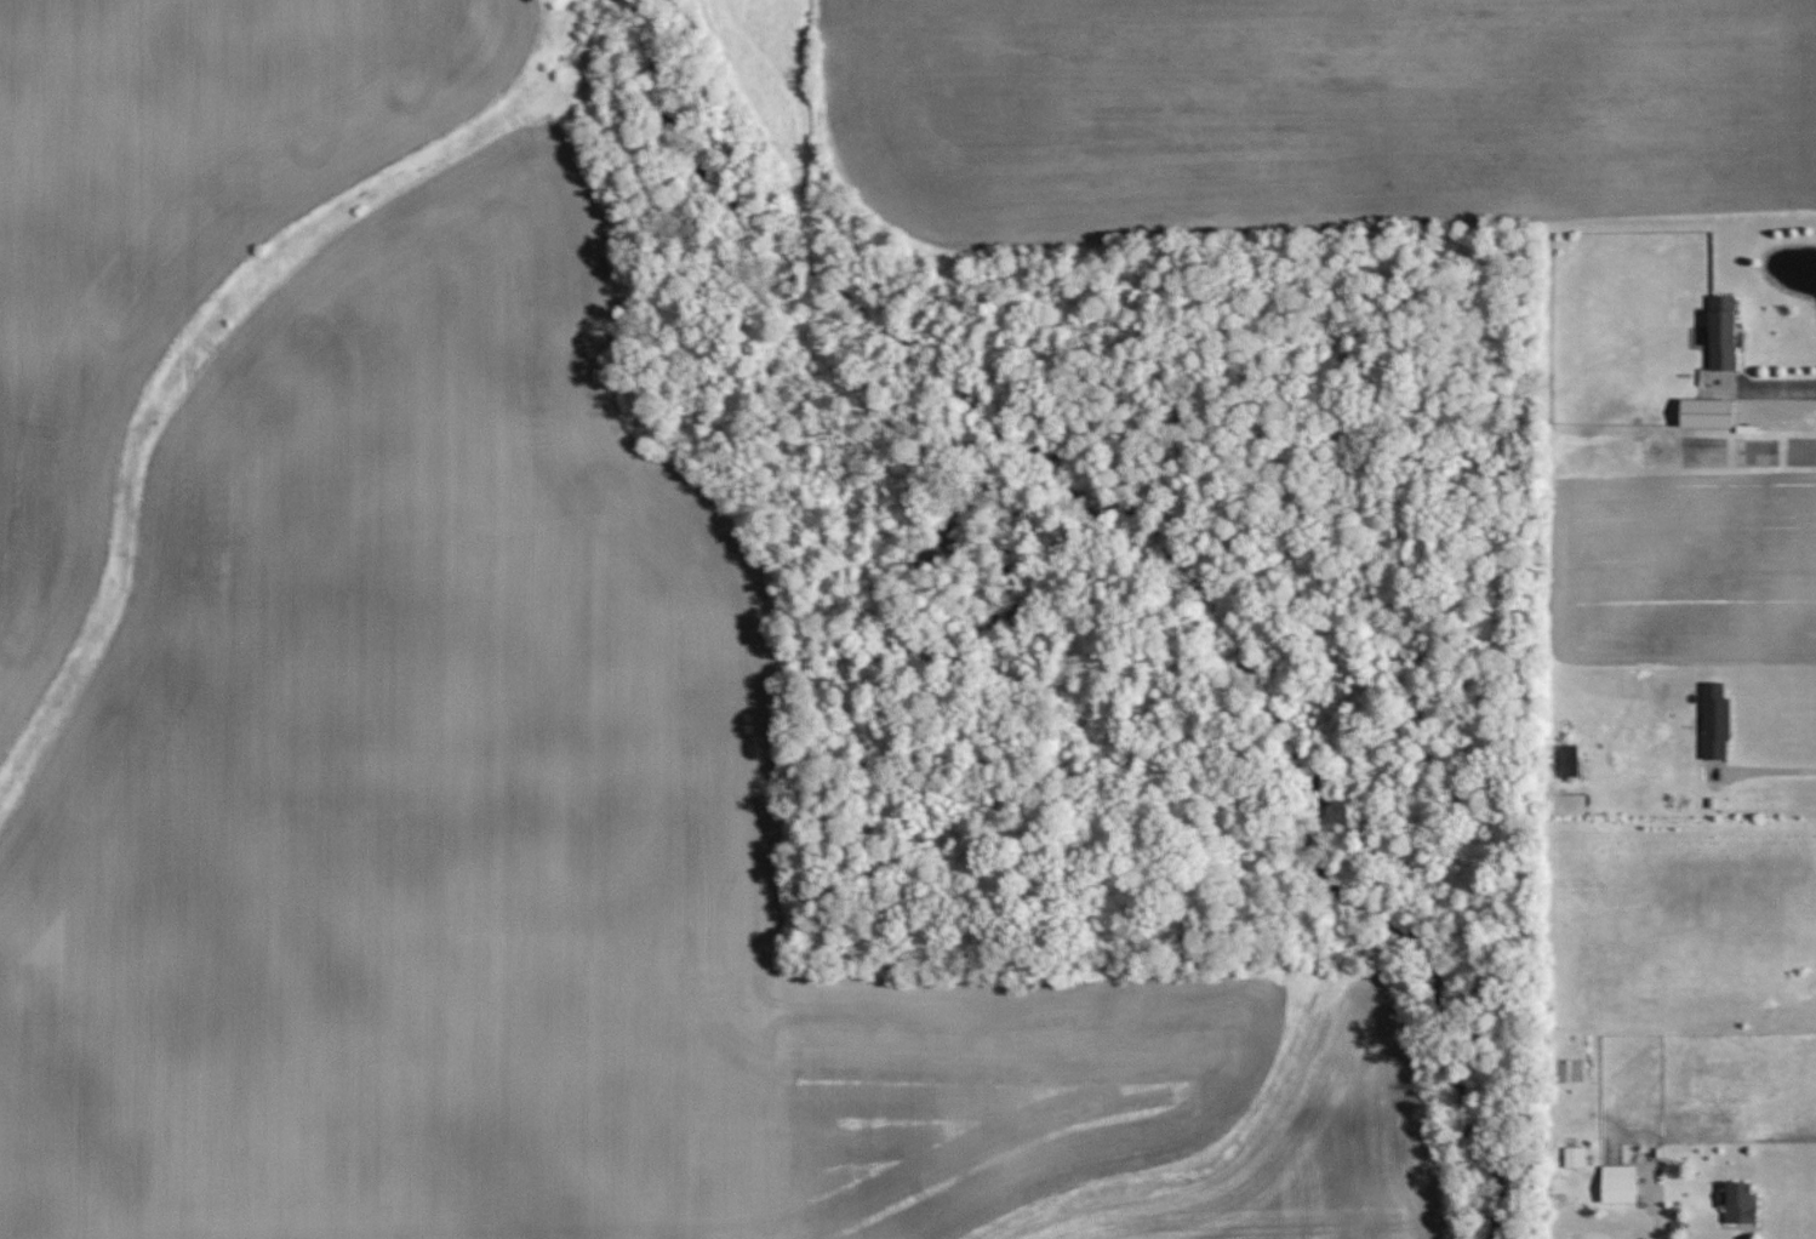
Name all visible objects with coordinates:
building: (1723, 333)
road: (1786, 388)
building: (1706, 413)
building: (1715, 721)
building: (1569, 761)
road: (1770, 772)
building: (1575, 1157)
building: (1618, 1184)
road: (1655, 1195)
building: (1738, 1203)

